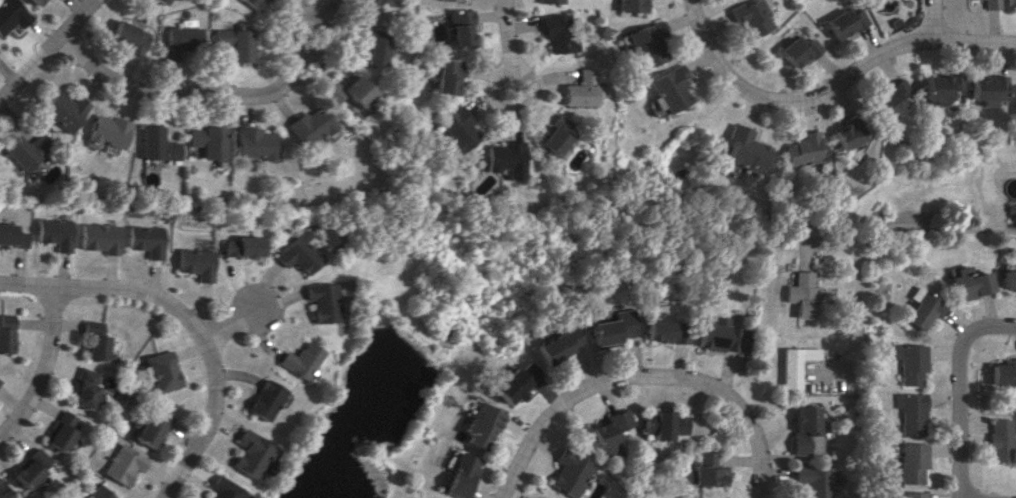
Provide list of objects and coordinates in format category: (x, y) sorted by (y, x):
building: (448, 0)
building: (164, 1)
building: (550, 1)
building: (34, 2)
building: (252, 3)
building: (365, 3)
building: (989, 4)
building: (1010, 4)
building: (629, 5)
building: (10, 14)
building: (746, 18)
road: (929, 19)
road: (677, 20)
building: (839, 22)
building: (457, 27)
building: (556, 32)
building: (129, 36)
building: (183, 40)
road: (993, 41)
building: (236, 43)
building: (644, 43)
road: (503, 44)
road: (44, 47)
building: (368, 47)
building: (792, 50)
road: (696, 60)
road: (883, 61)
building: (444, 76)
road: (828, 82)
building: (936, 87)
building: (666, 88)
building: (579, 89)
building: (985, 90)
road: (188, 91)
building: (344, 91)
road: (835, 96)
building: (889, 98)
building: (1014, 99)
road: (743, 105)
building: (62, 110)
road: (803, 111)
building: (306, 127)
building: (454, 129)
building: (107, 131)
building: (845, 132)
building: (551, 135)
building: (207, 141)
building: (253, 143)
building: (156, 144)
building: (741, 149)
building: (800, 149)
building: (23, 150)
building: (502, 158)
building: (54, 233)
road: (860, 235)
building: (11, 236)
building: (99, 237)
road: (829, 238)
building: (145, 240)
building: (241, 246)
building: (297, 253)
building: (194, 262)
building: (1008, 280)
building: (969, 282)
building: (799, 294)
building: (319, 302)
building: (924, 309)
road: (232, 318)
road: (189, 319)
building: (611, 328)
building: (666, 331)
building: (4, 333)
building: (722, 335)
building: (92, 341)
building: (556, 344)
building: (296, 360)
building: (908, 361)
road: (43, 363)
building: (161, 370)
building: (789, 370)
building: (1003, 372)
road: (642, 374)
building: (512, 383)
building: (82, 388)
road: (958, 390)
building: (261, 399)
building: (908, 412)
building: (480, 423)
building: (665, 424)
building: (804, 427)
building: (149, 428)
building: (611, 431)
building: (57, 432)
building: (998, 439)
building: (249, 453)
building: (908, 462)
building: (121, 464)
building: (27, 467)
building: (707, 471)
building: (569, 473)
building: (458, 475)
building: (814, 480)
building: (221, 488)
building: (95, 492)
building: (2, 493)
building: (908, 494)
building: (690, 497)

